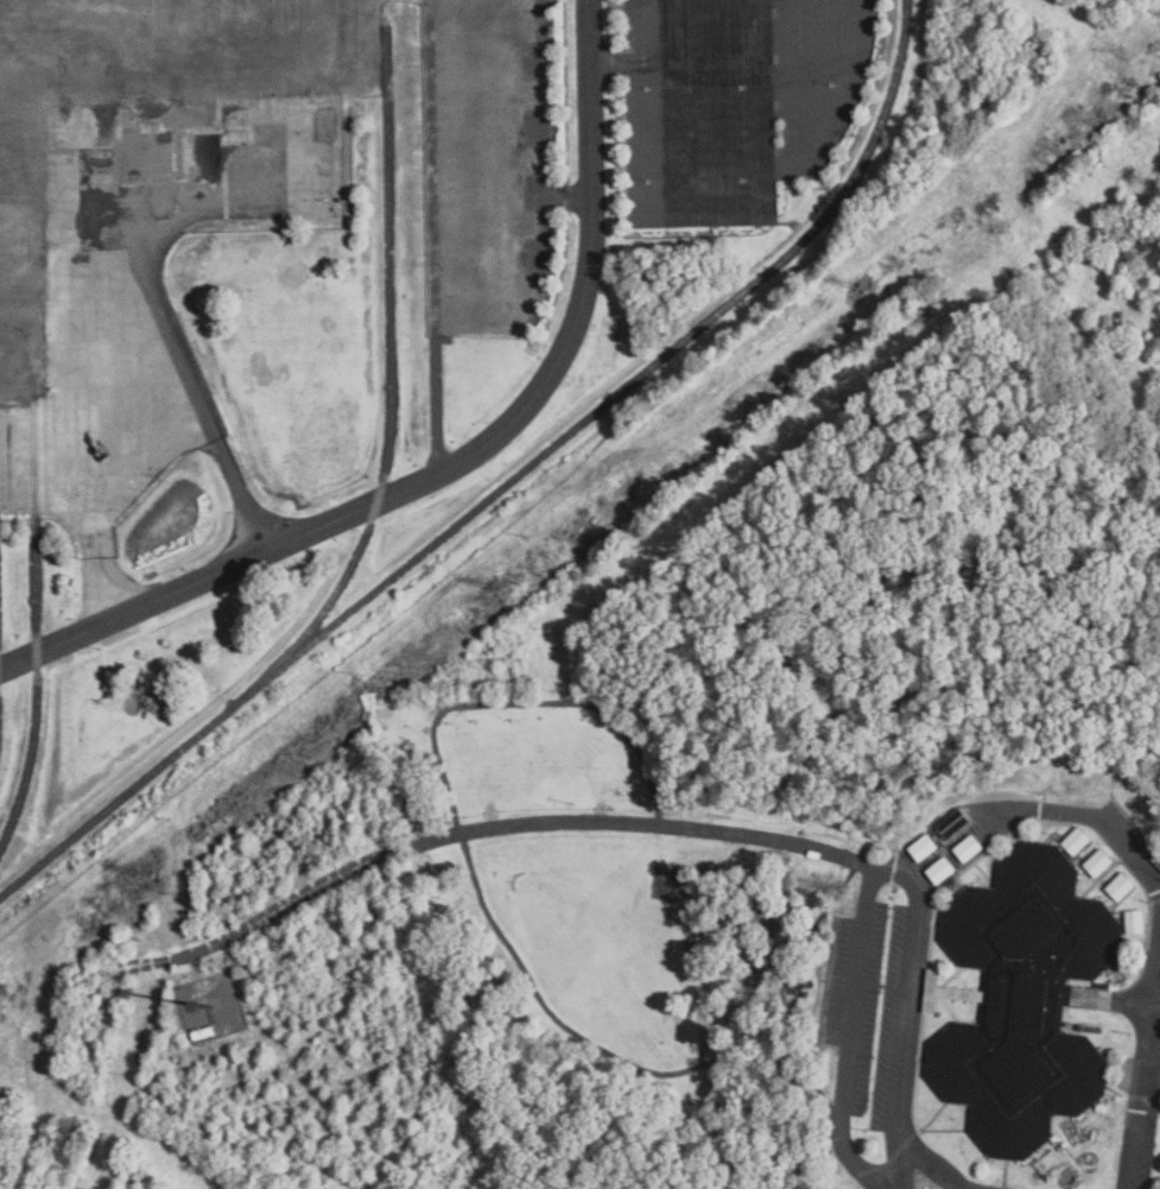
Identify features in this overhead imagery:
road: (613, 63)
road: (698, 205)
power tower: (873, 285)
railway: (391, 382)
road: (461, 457)
railway: (507, 485)
power tower: (503, 583)
railway: (37, 622)
road: (1028, 808)
building: (951, 824)
road: (524, 833)
building: (1075, 841)
building: (923, 847)
building: (968, 848)
building: (1099, 862)
building: (940, 869)
power tower: (150, 872)
building: (1121, 885)
building: (1136, 921)
building: (1023, 998)
road: (847, 1057)

